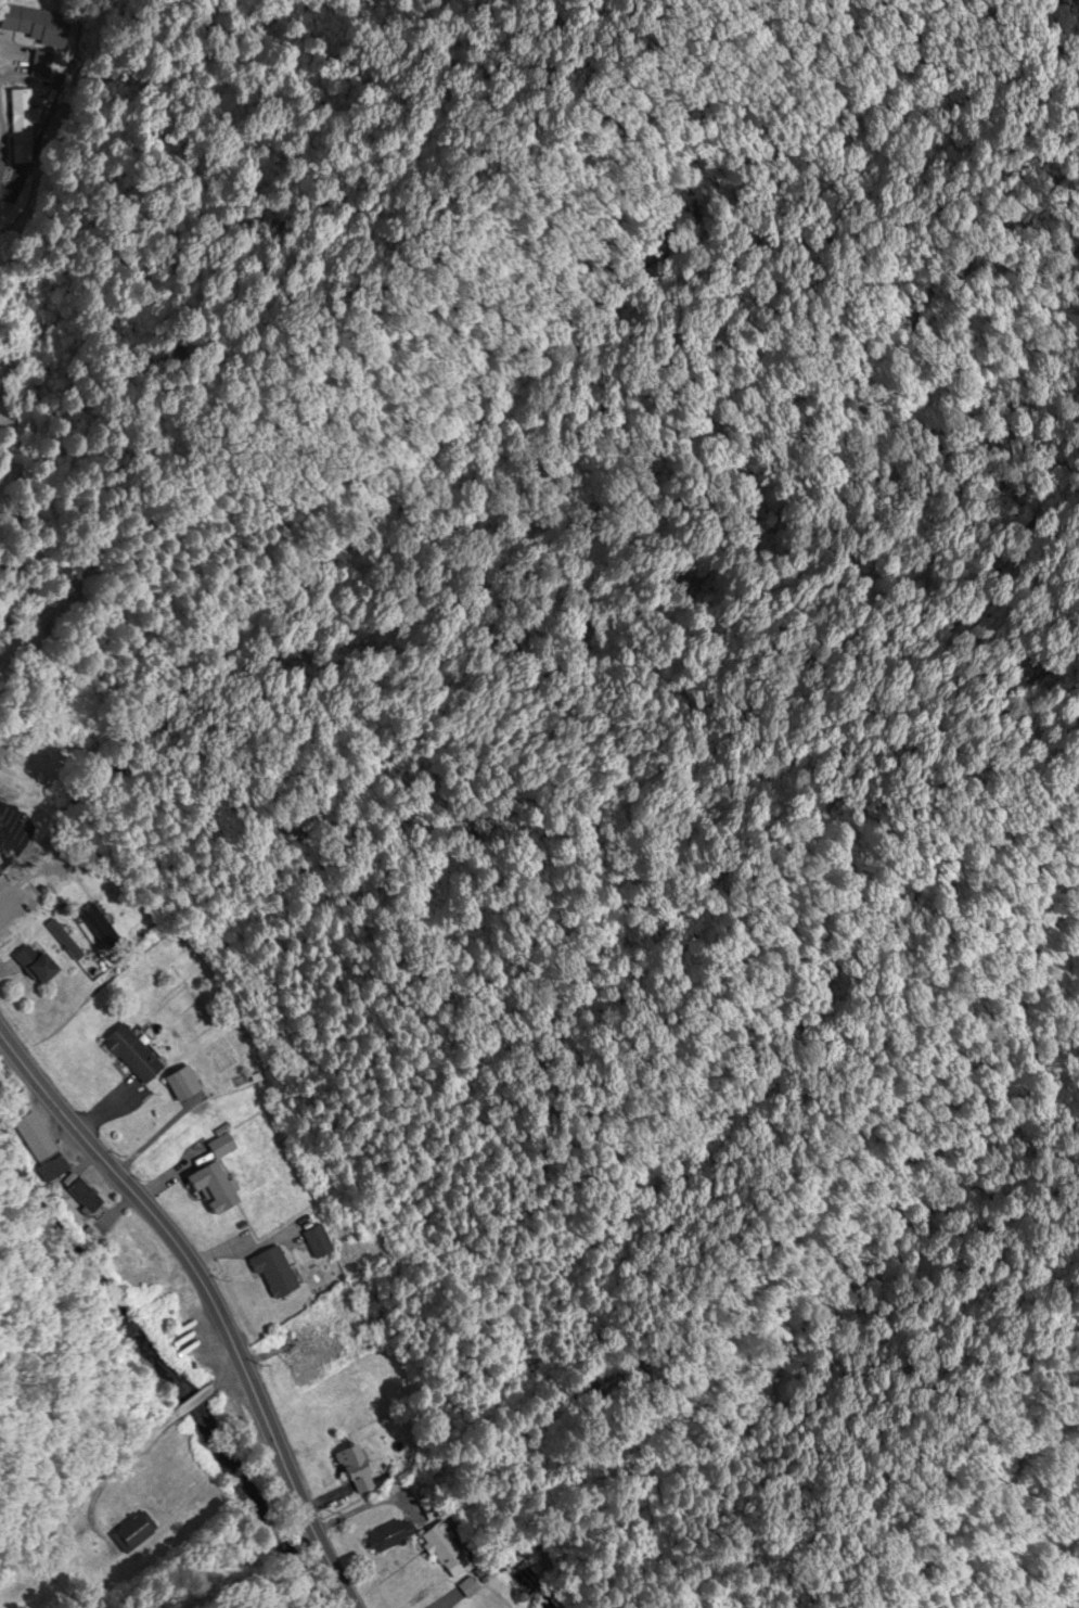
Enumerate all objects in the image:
building: (30, 25)
building: (37, 65)
building: (1, 858)
building: (0, 864)
building: (23, 901)
building: (36, 963)
building: (132, 1054)
building: (184, 1083)
building: (35, 1137)
building: (51, 1169)
building: (217, 1177)
building: (81, 1192)
building: (317, 1241)
road: (179, 1247)
building: (274, 1273)
building: (300, 1362)
road: (119, 1466)
building: (357, 1470)
building: (388, 1535)
road: (333, 1549)
building: (445, 1552)
building: (470, 1586)

